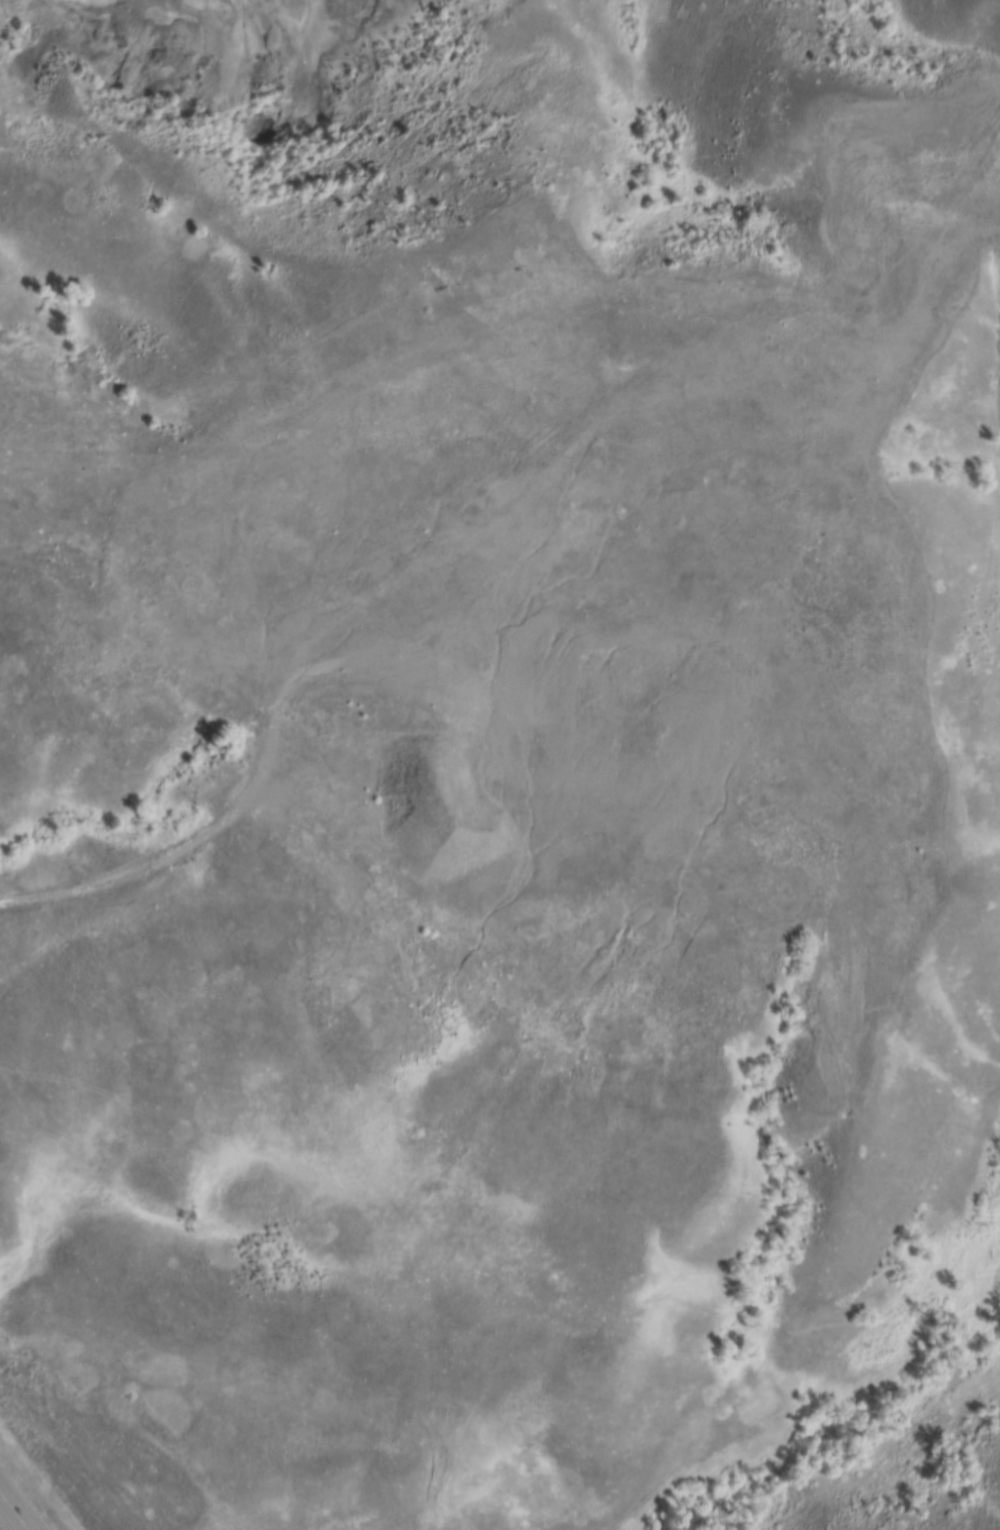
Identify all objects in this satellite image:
quarry: (520, 594)
road: (157, 873)
road: (12, 1514)

